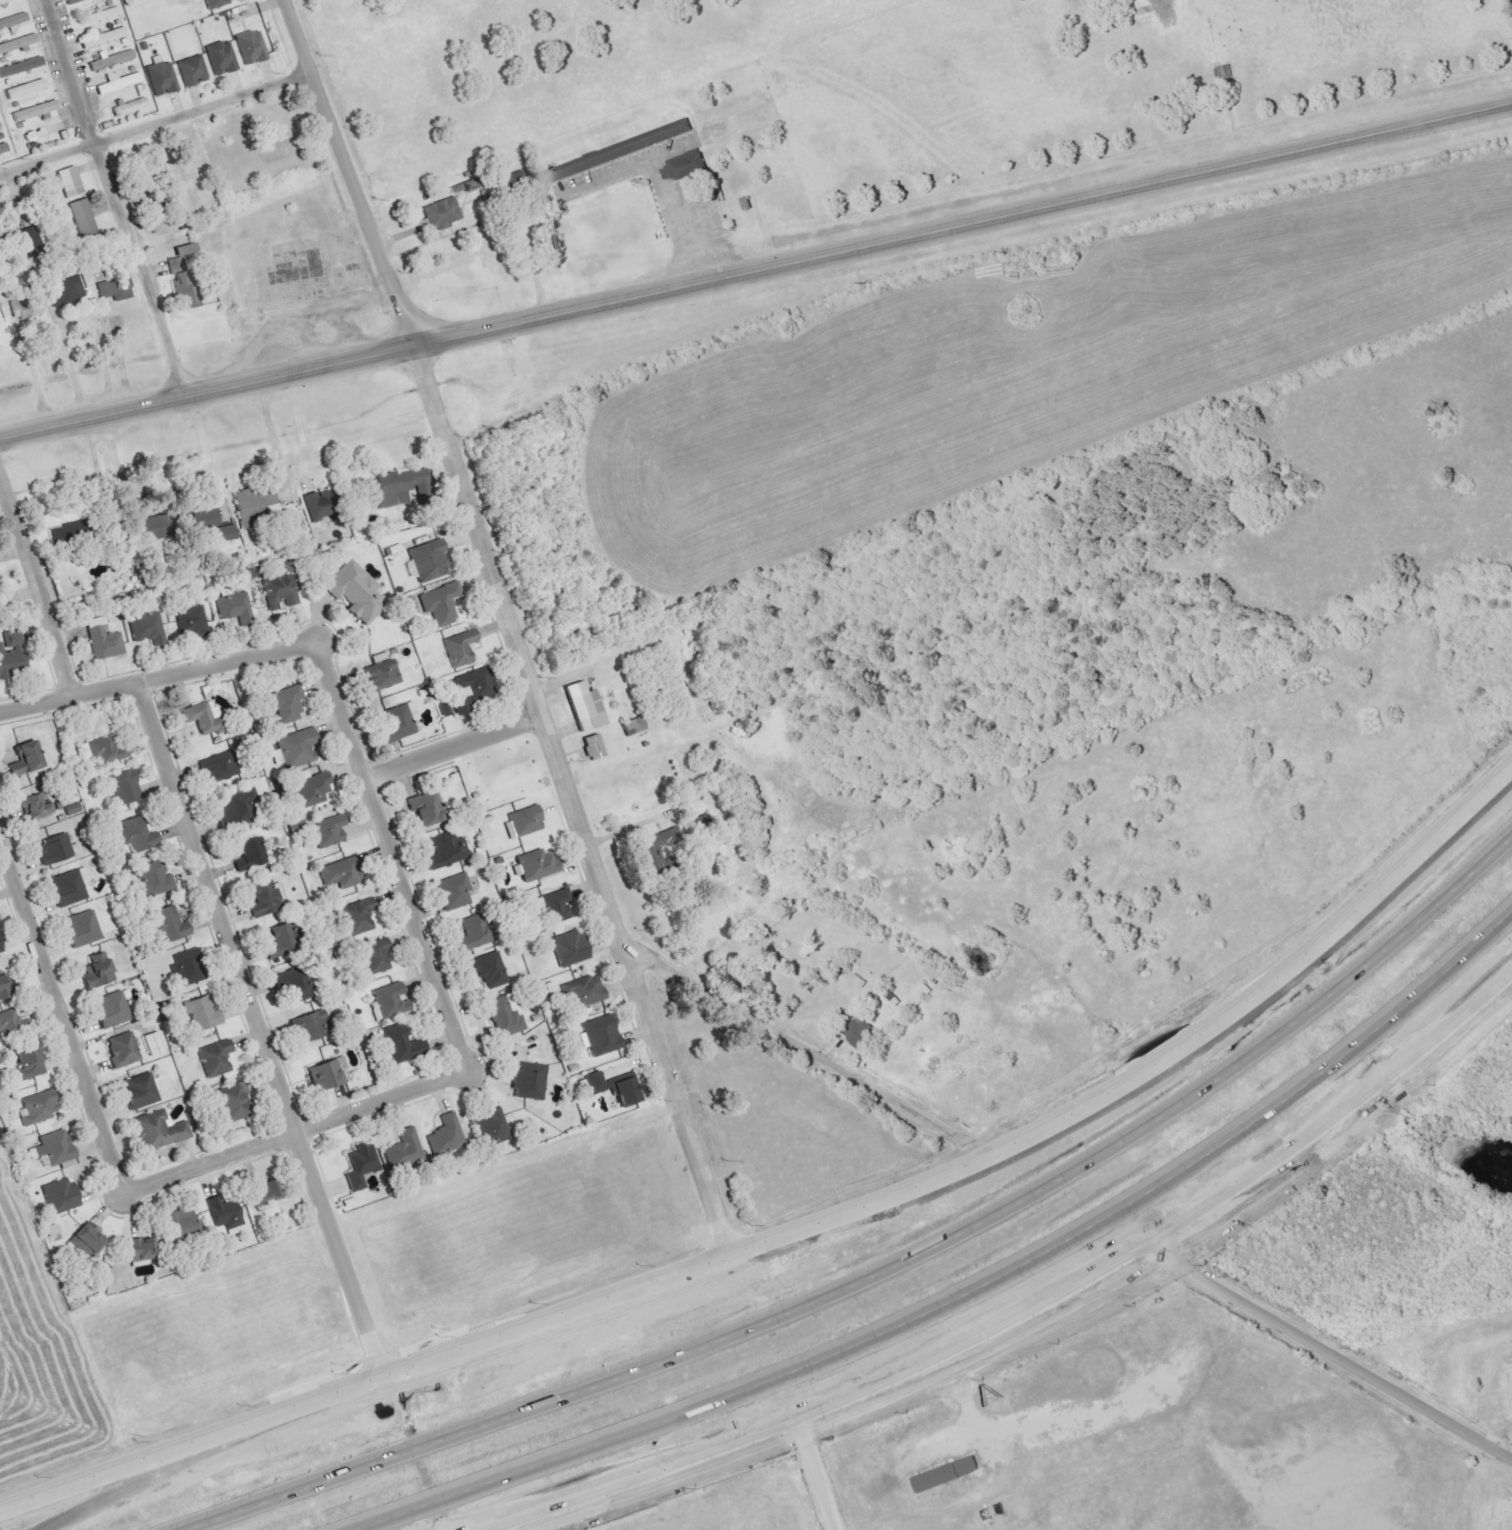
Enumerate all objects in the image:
building: (66, 1)
building: (214, 3)
building: (96, 13)
building: (101, 15)
building: (12, 24)
building: (98, 36)
building: (18, 44)
building: (248, 51)
building: (111, 60)
building: (220, 61)
building: (20, 67)
building: (193, 70)
road: (63, 73)
building: (1224, 73)
building: (162, 76)
building: (119, 82)
building: (25, 89)
building: (130, 107)
road: (198, 109)
building: (35, 112)
building: (0, 128)
building: (4, 148)
building: (617, 154)
road: (46, 160)
building: (685, 167)
building: (70, 182)
building: (471, 184)
road: (656, 185)
building: (442, 214)
building: (83, 218)
building: (31, 236)
building: (185, 250)
road: (137, 270)
road: (755, 272)
building: (111, 286)
building: (59, 290)
building: (26, 308)
road: (73, 327)
road: (34, 382)
road: (299, 428)
road: (272, 437)
road: (205, 452)
building: (397, 487)
building: (253, 500)
building: (315, 506)
road: (122, 518)
building: (201, 519)
building: (151, 528)
building: (222, 533)
building: (64, 534)
building: (425, 564)
road: (35, 581)
building: (352, 589)
building: (280, 592)
building: (441, 603)
building: (408, 604)
building: (192, 620)
road: (506, 626)
building: (148, 628)
building: (104, 639)
building: (455, 647)
building: (12, 653)
building: (380, 676)
building: (471, 689)
road: (64, 697)
road: (332, 699)
building: (281, 704)
building: (584, 706)
building: (199, 717)
building: (399, 721)
building: (634, 726)
building: (593, 746)
road: (448, 748)
building: (296, 749)
building: (106, 751)
building: (24, 759)
building: (218, 768)
building: (120, 786)
building: (309, 789)
building: (36, 807)
building: (238, 807)
building: (426, 808)
building: (73, 810)
building: (520, 819)
building: (324, 831)
building: (133, 833)
building: (55, 849)
building: (653, 849)
building: (446, 852)
building: (252, 856)
building: (535, 865)
building: (337, 871)
building: (155, 879)
building: (454, 891)
building: (65, 893)
building: (267, 898)
building: (552, 904)
building: (359, 917)
building: (171, 924)
building: (82, 929)
building: (472, 934)
building: (280, 942)
building: (568, 948)
building: (0, 950)
building: (0, 954)
building: (370, 954)
building: (187, 967)
building: (97, 970)
building: (487, 970)
building: (294, 985)
building: (4, 987)
building: (584, 991)
building: (916, 994)
building: (385, 1000)
building: (111, 1009)
building: (202, 1013)
building: (505, 1017)
building: (9, 1021)
road: (58, 1023)
building: (308, 1026)
road: (254, 1029)
building: (855, 1032)
building: (596, 1035)
building: (154, 1043)
road: (795, 1044)
building: (401, 1045)
building: (123, 1050)
building: (209, 1056)
building: (28, 1064)
road: (1154, 1066)
building: (321, 1074)
building: (523, 1080)
building: (610, 1087)
building: (140, 1091)
building: (228, 1101)
building: (33, 1107)
road: (360, 1107)
building: (491, 1128)
building: (153, 1129)
road: (1347, 1131)
building: (444, 1140)
building: (52, 1146)
building: (404, 1149)
building: (361, 1166)
building: (262, 1192)
building: (54, 1195)
building: (222, 1216)
building: (181, 1222)
building: (79, 1238)
building: (135, 1249)
road: (892, 1264)
road: (971, 1293)
road: (1340, 1358)
road: (364, 1382)
road: (846, 1408)
road: (966, 1429)
road: (160, 1472)
building: (945, 1475)
road: (819, 1476)

